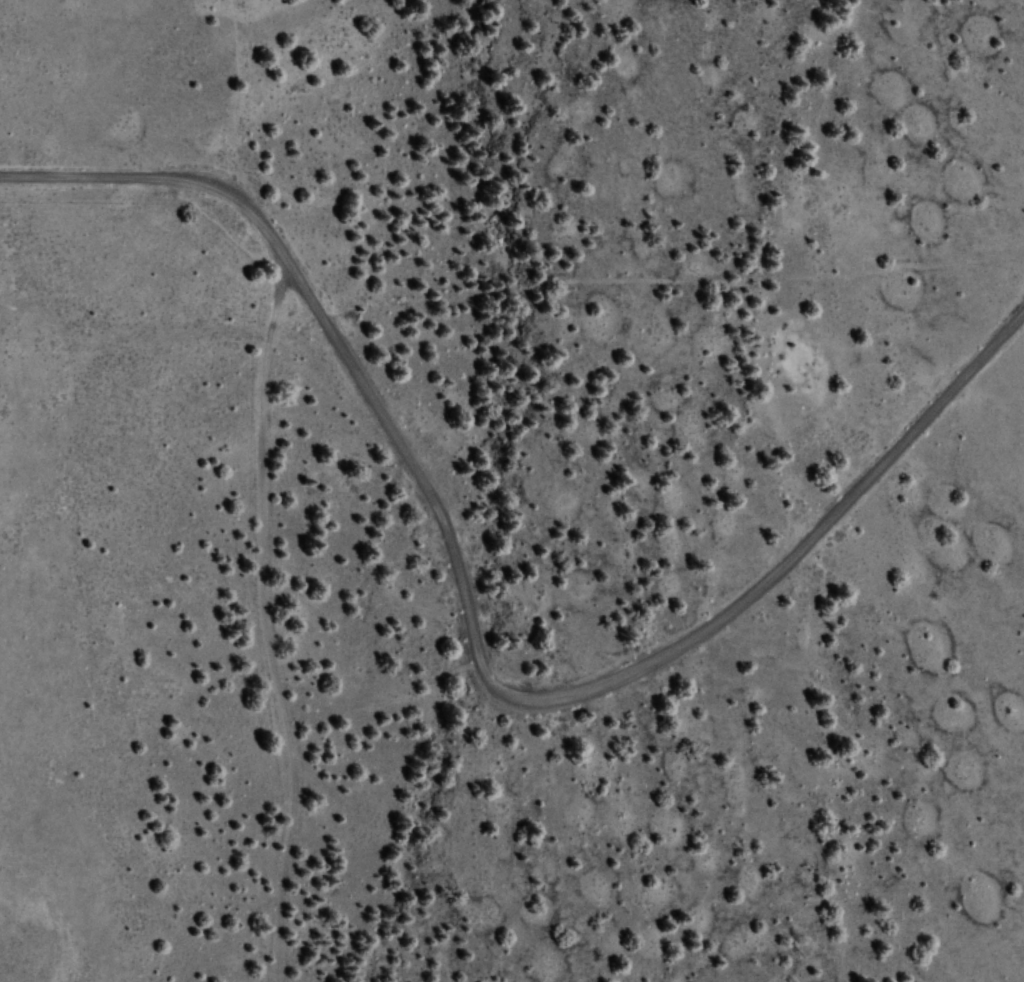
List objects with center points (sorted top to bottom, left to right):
road: (266, 617)
road: (478, 633)

